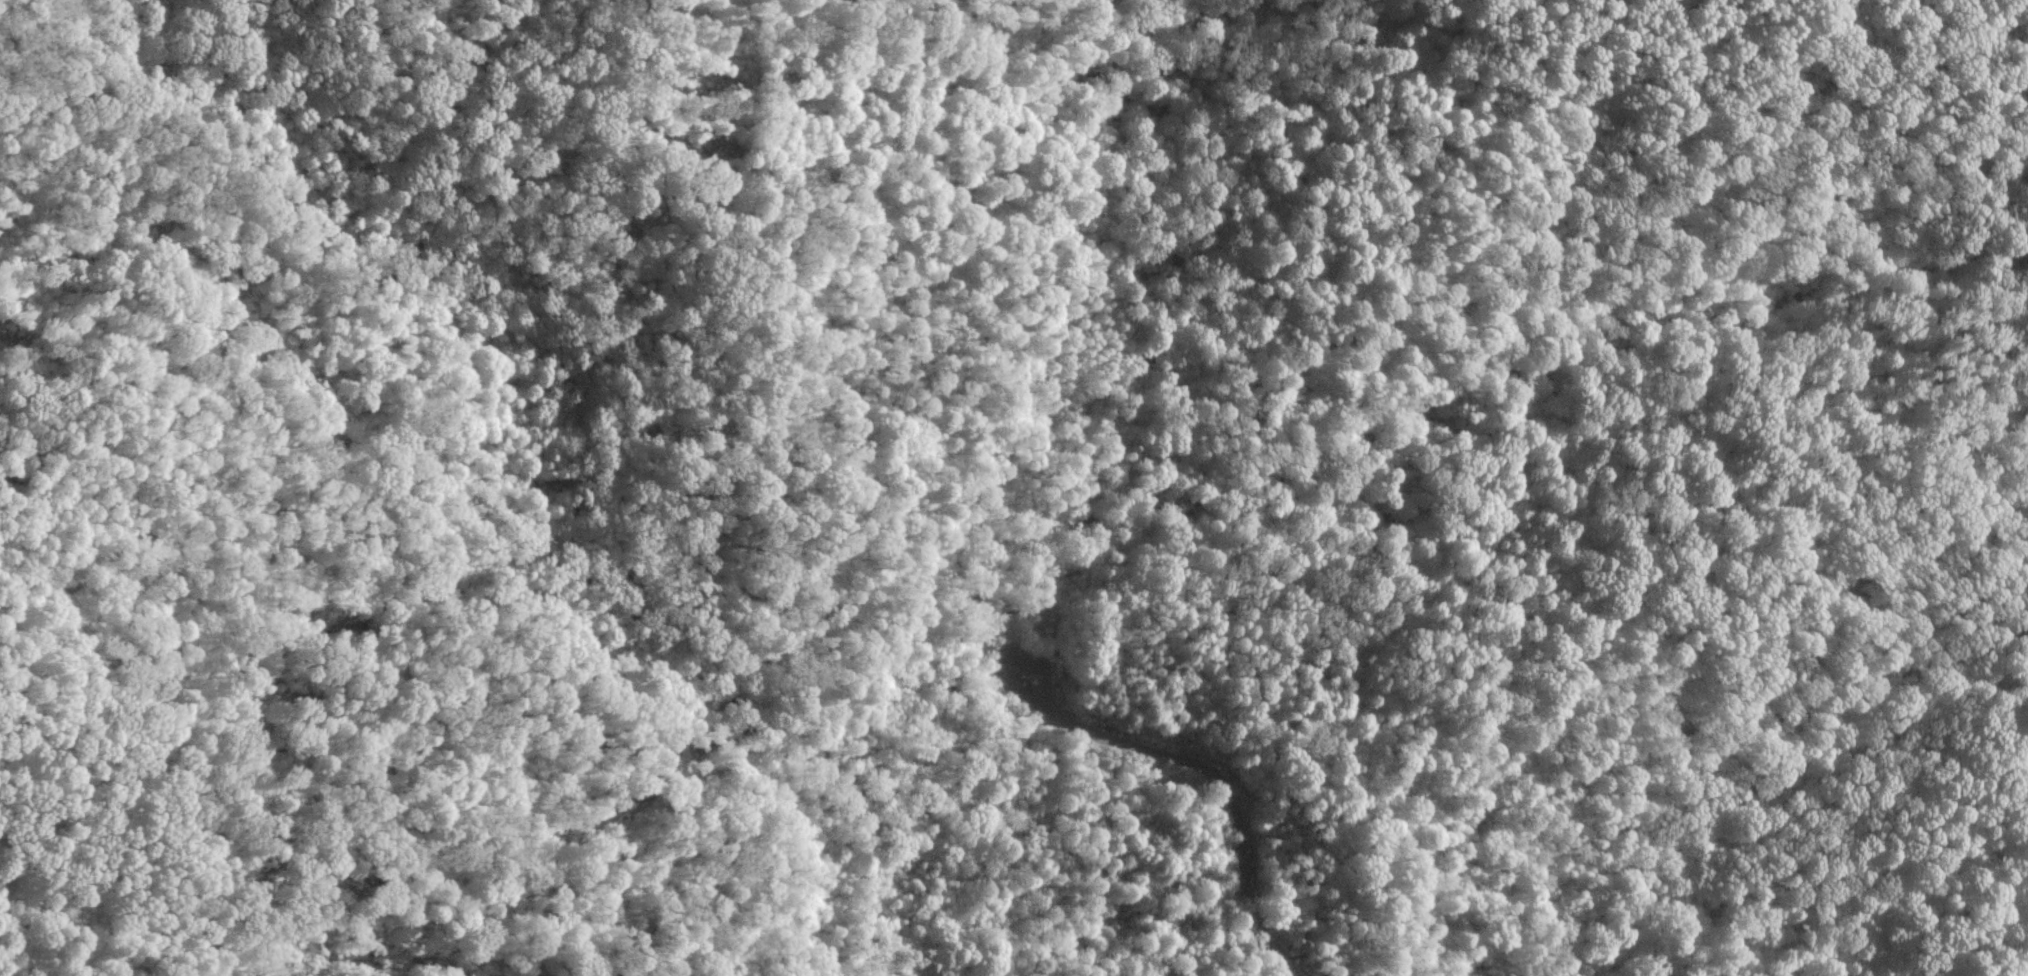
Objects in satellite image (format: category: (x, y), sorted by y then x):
road: (528, 566)
road: (1217, 765)
road: (83, 963)

